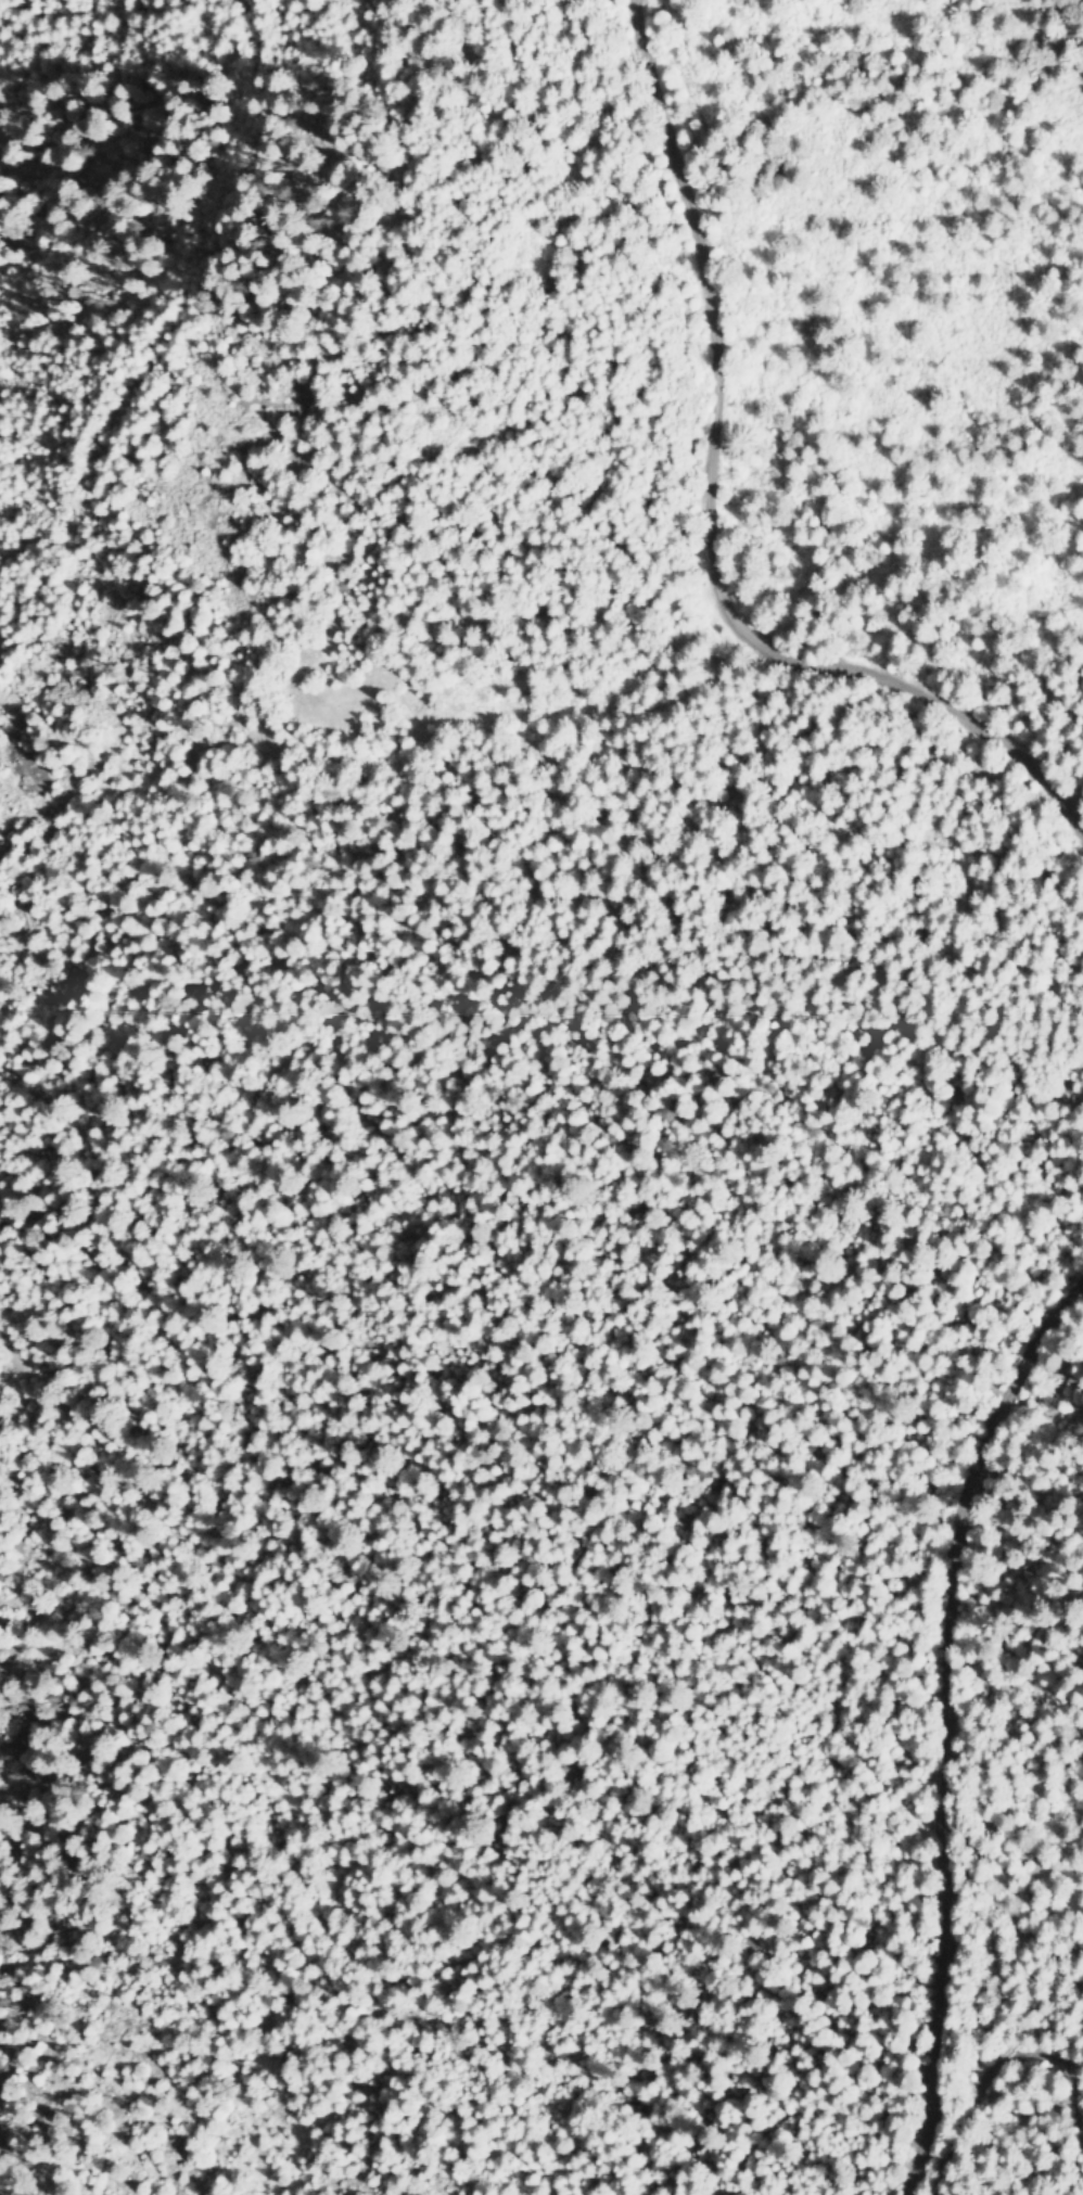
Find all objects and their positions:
road: (634, 0)
road: (238, 177)
road: (705, 524)
road: (950, 1719)
road: (988, 2068)

